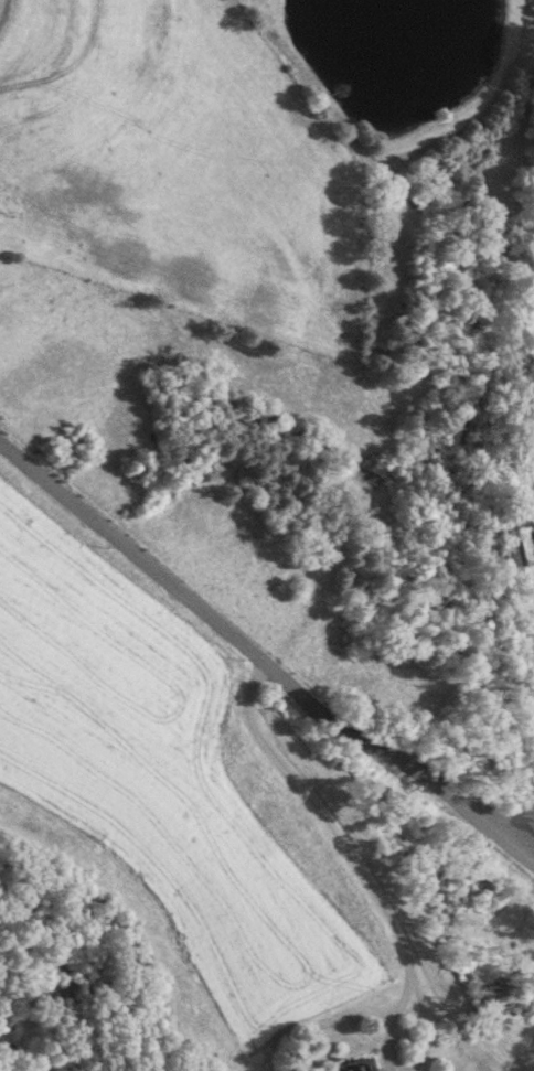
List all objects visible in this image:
building: (519, 546)
road: (259, 663)
road: (382, 908)
building: (362, 1065)

